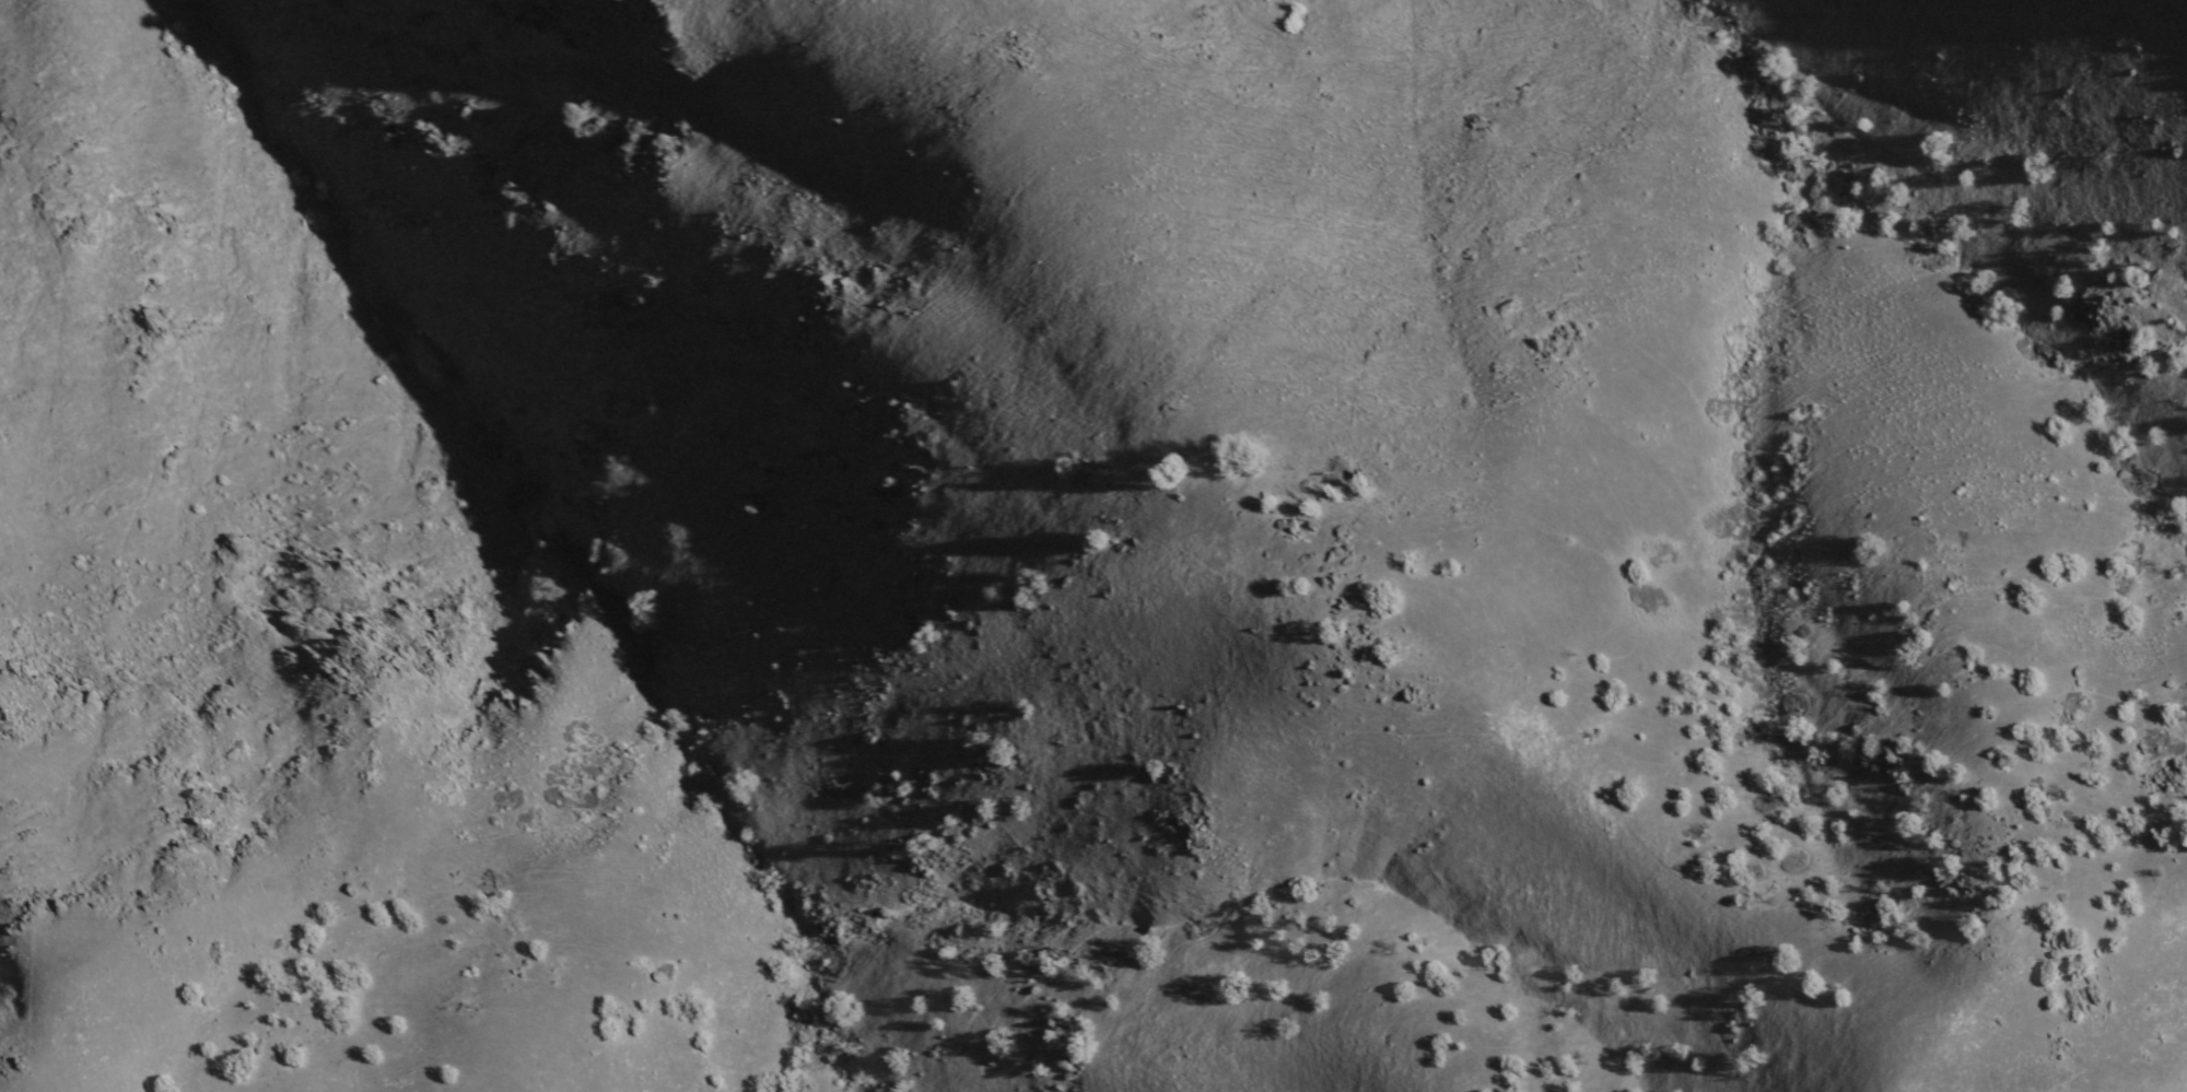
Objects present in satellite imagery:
building: (1897, 762)

